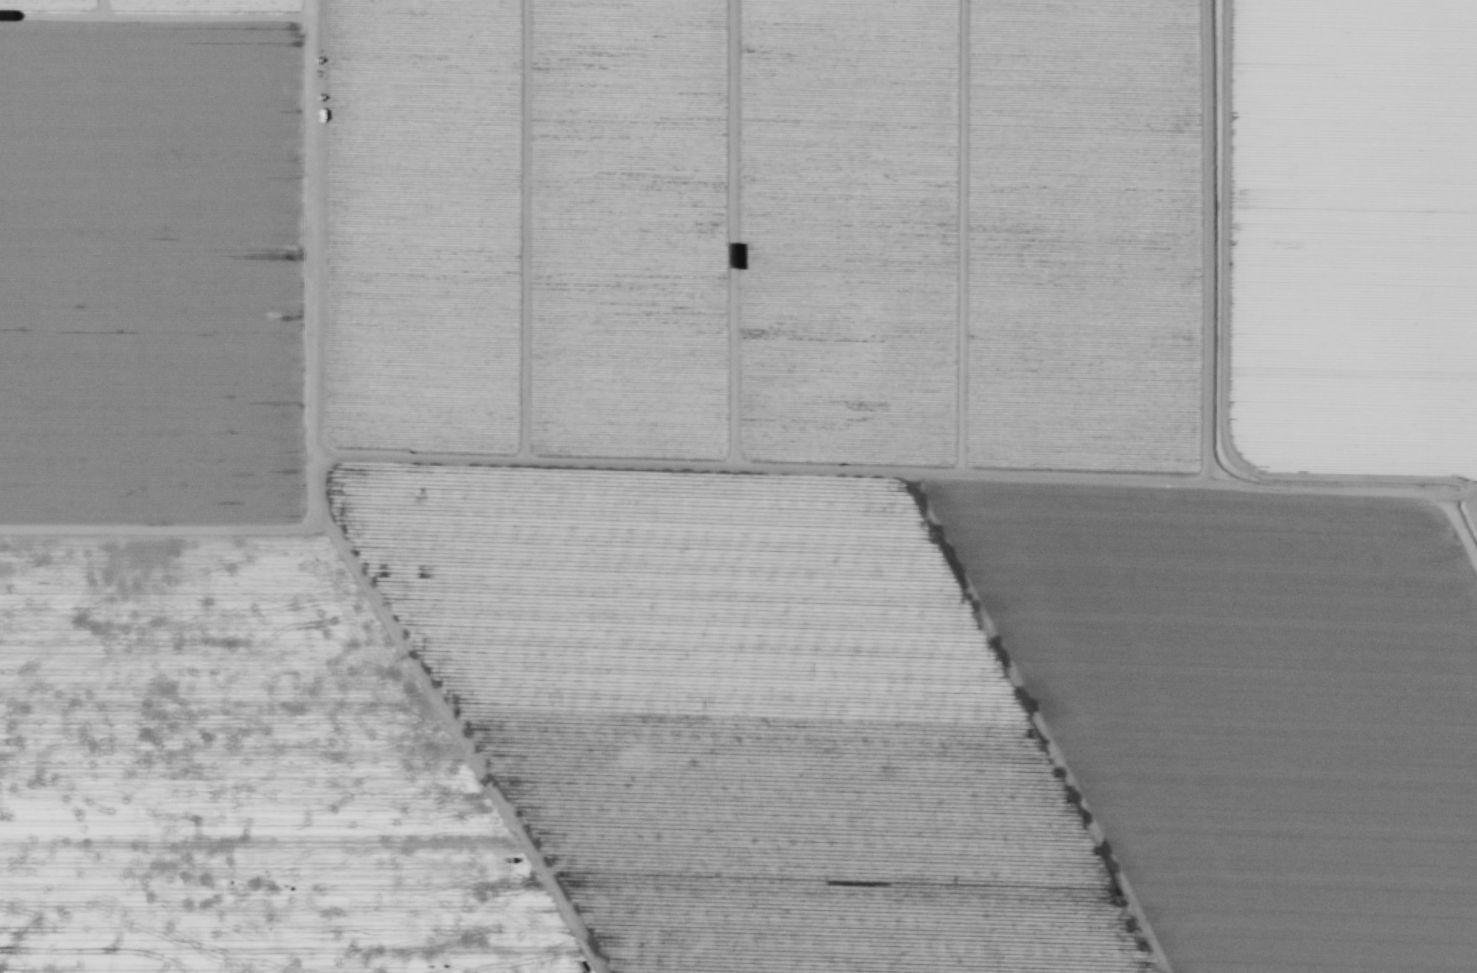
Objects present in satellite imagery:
crop: (738, 486)

